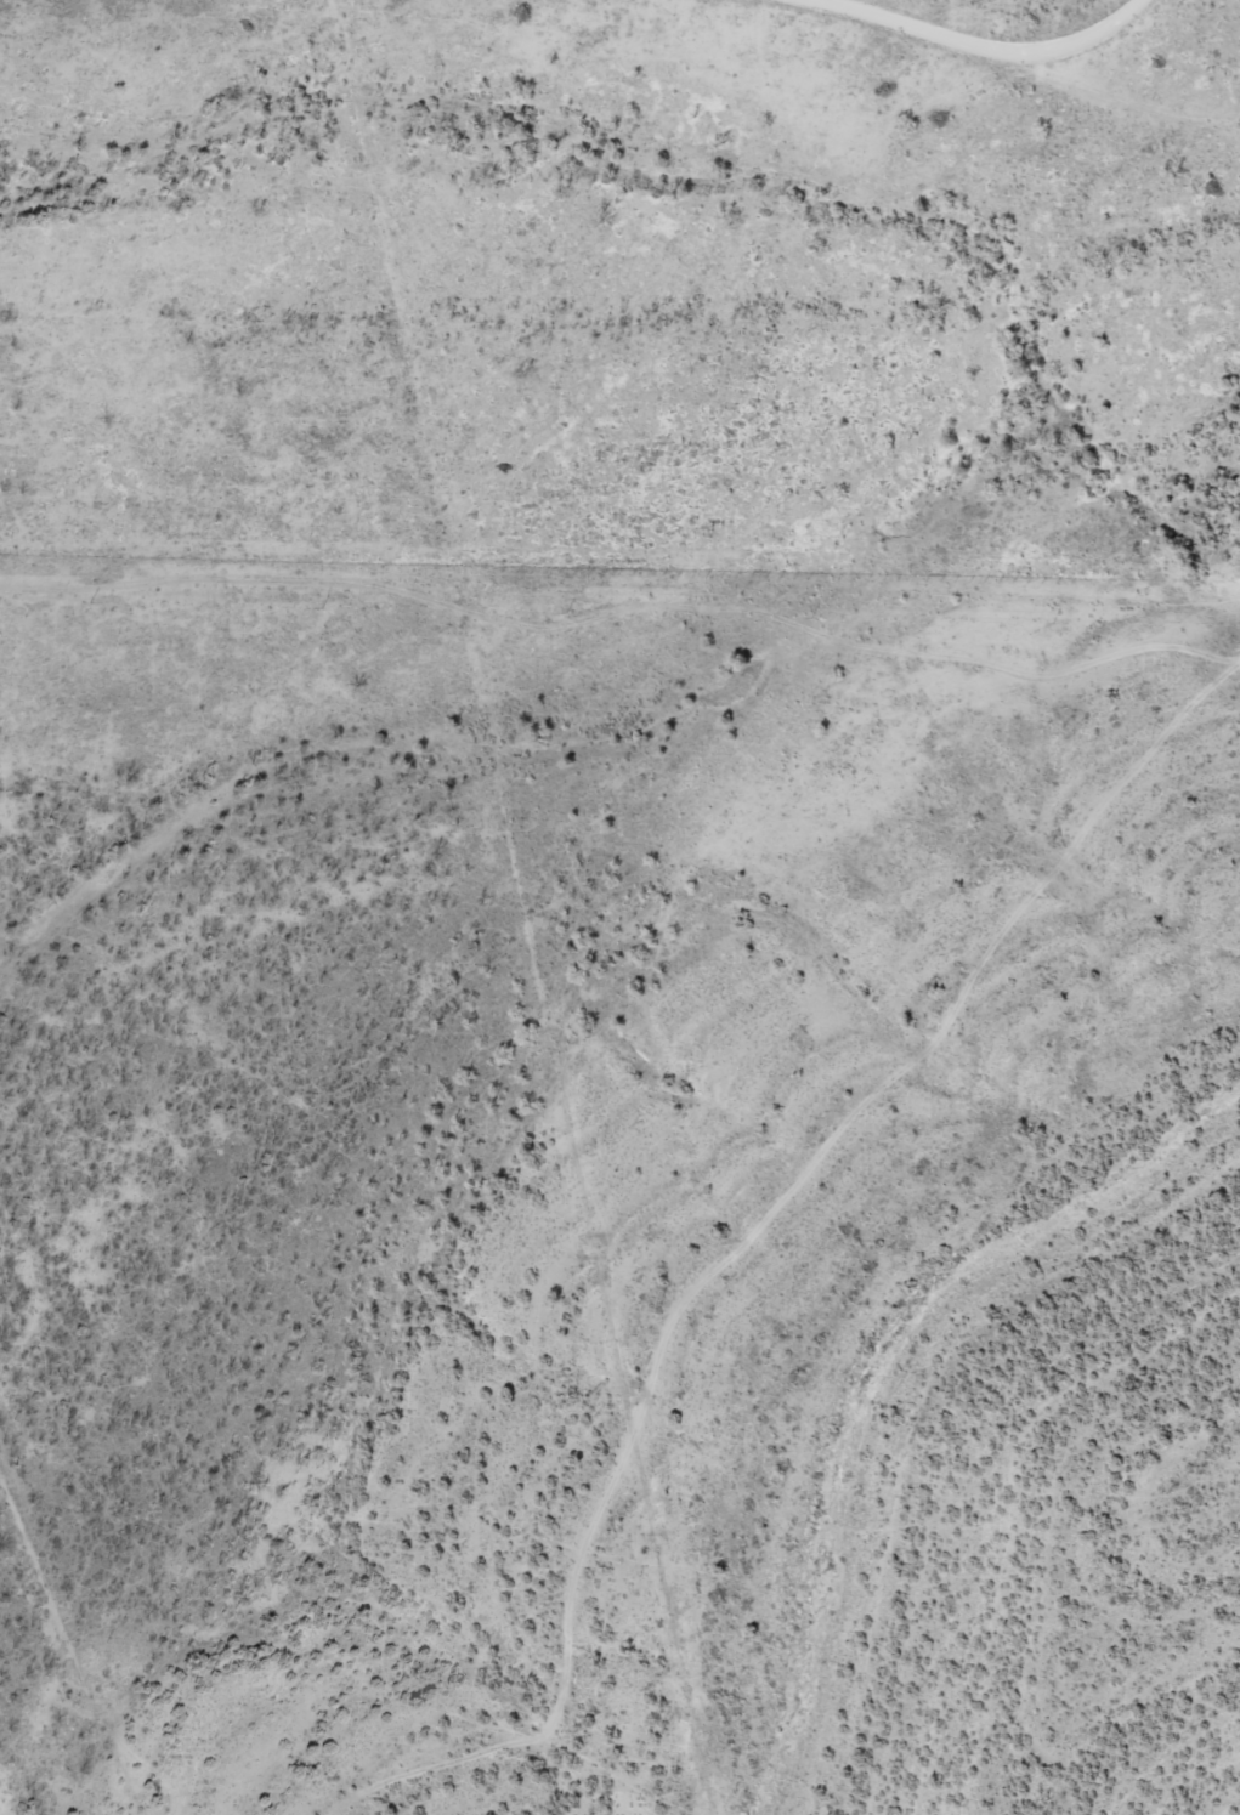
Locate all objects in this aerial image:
road: (170, 2)
road: (652, 4)
road: (1097, 25)
road: (985, 50)

